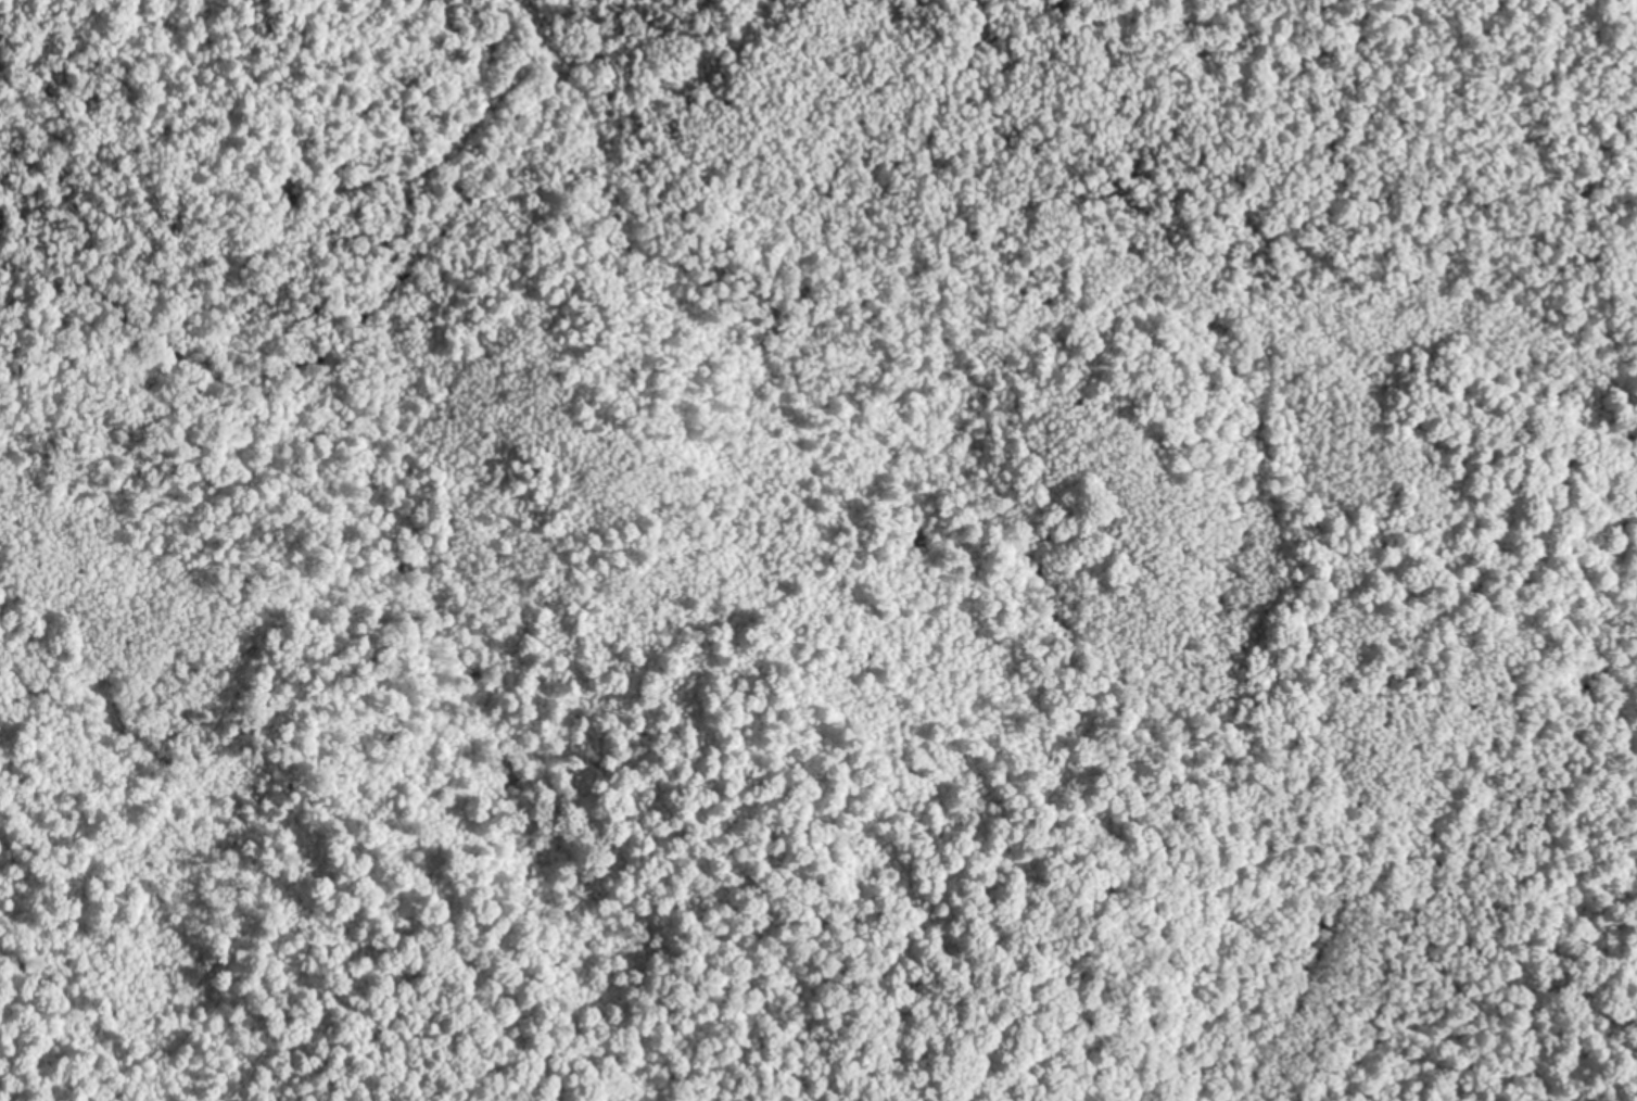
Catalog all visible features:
quarry: (1622, 111)

